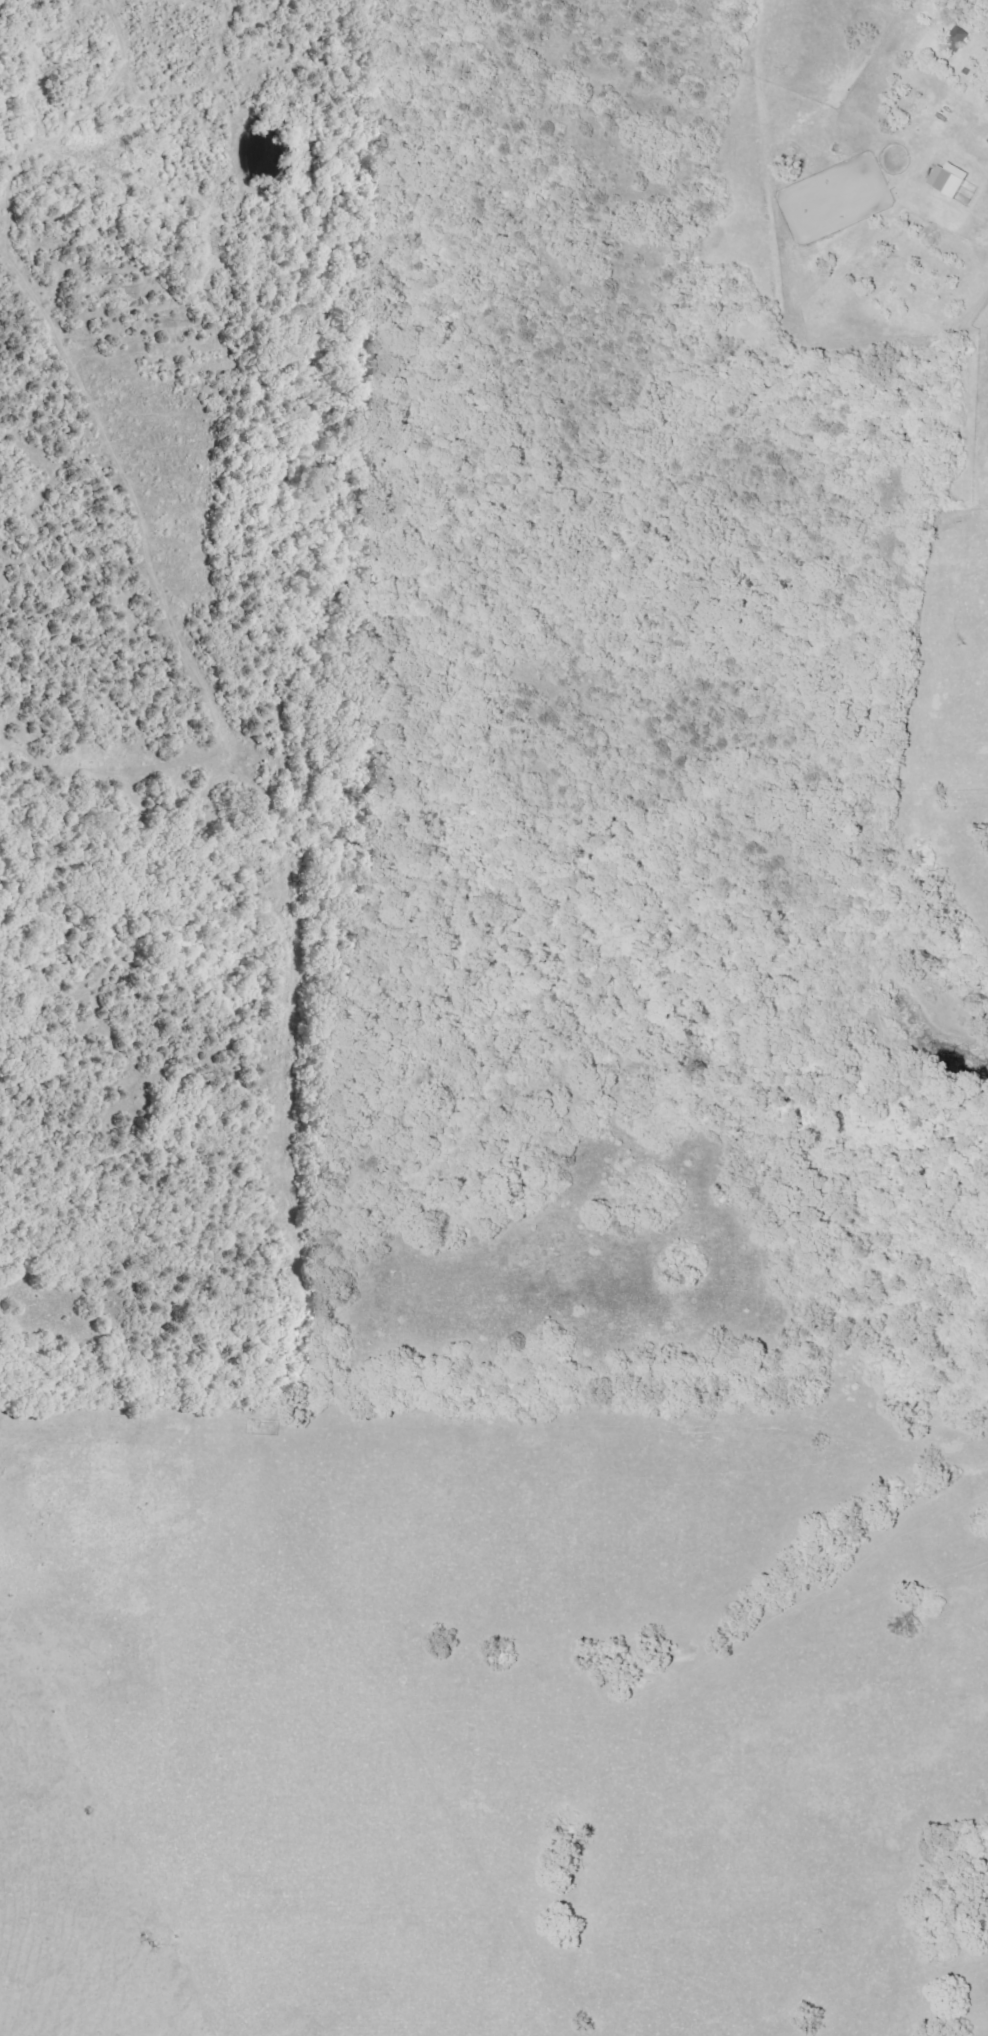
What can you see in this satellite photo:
building: (959, 41)
building: (949, 181)

